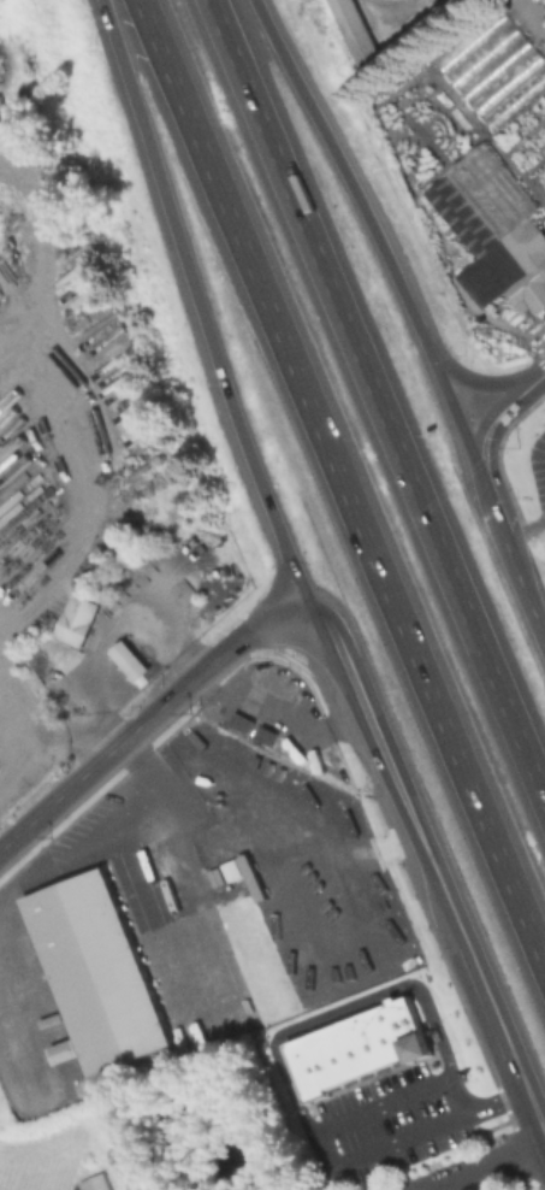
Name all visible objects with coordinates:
building: (538, 0)
road: (392, 8)
building: (351, 28)
building: (496, 70)
road: (371, 230)
building: (494, 255)
road: (196, 314)
road: (23, 354)
road: (480, 383)
road: (76, 401)
road: (372, 408)
road: (500, 413)
parking lot: (538, 470)
road: (334, 491)
road: (510, 550)
road: (537, 593)
building: (76, 620)
building: (129, 659)
road: (150, 715)
building: (241, 721)
road: (274, 721)
building: (266, 735)
road: (38, 746)
road: (19, 762)
road: (93, 825)
road: (353, 859)
road: (291, 870)
road: (178, 888)
road: (433, 891)
building: (95, 972)
road: (342, 1011)
building: (410, 1030)
building: (390, 1035)
building: (373, 1041)
building: (357, 1047)
road: (16, 1050)
building: (342, 1054)
building: (325, 1060)
building: (307, 1070)
parking lot: (387, 1124)
road: (331, 1125)
road: (485, 1166)
building: (95, 1183)

